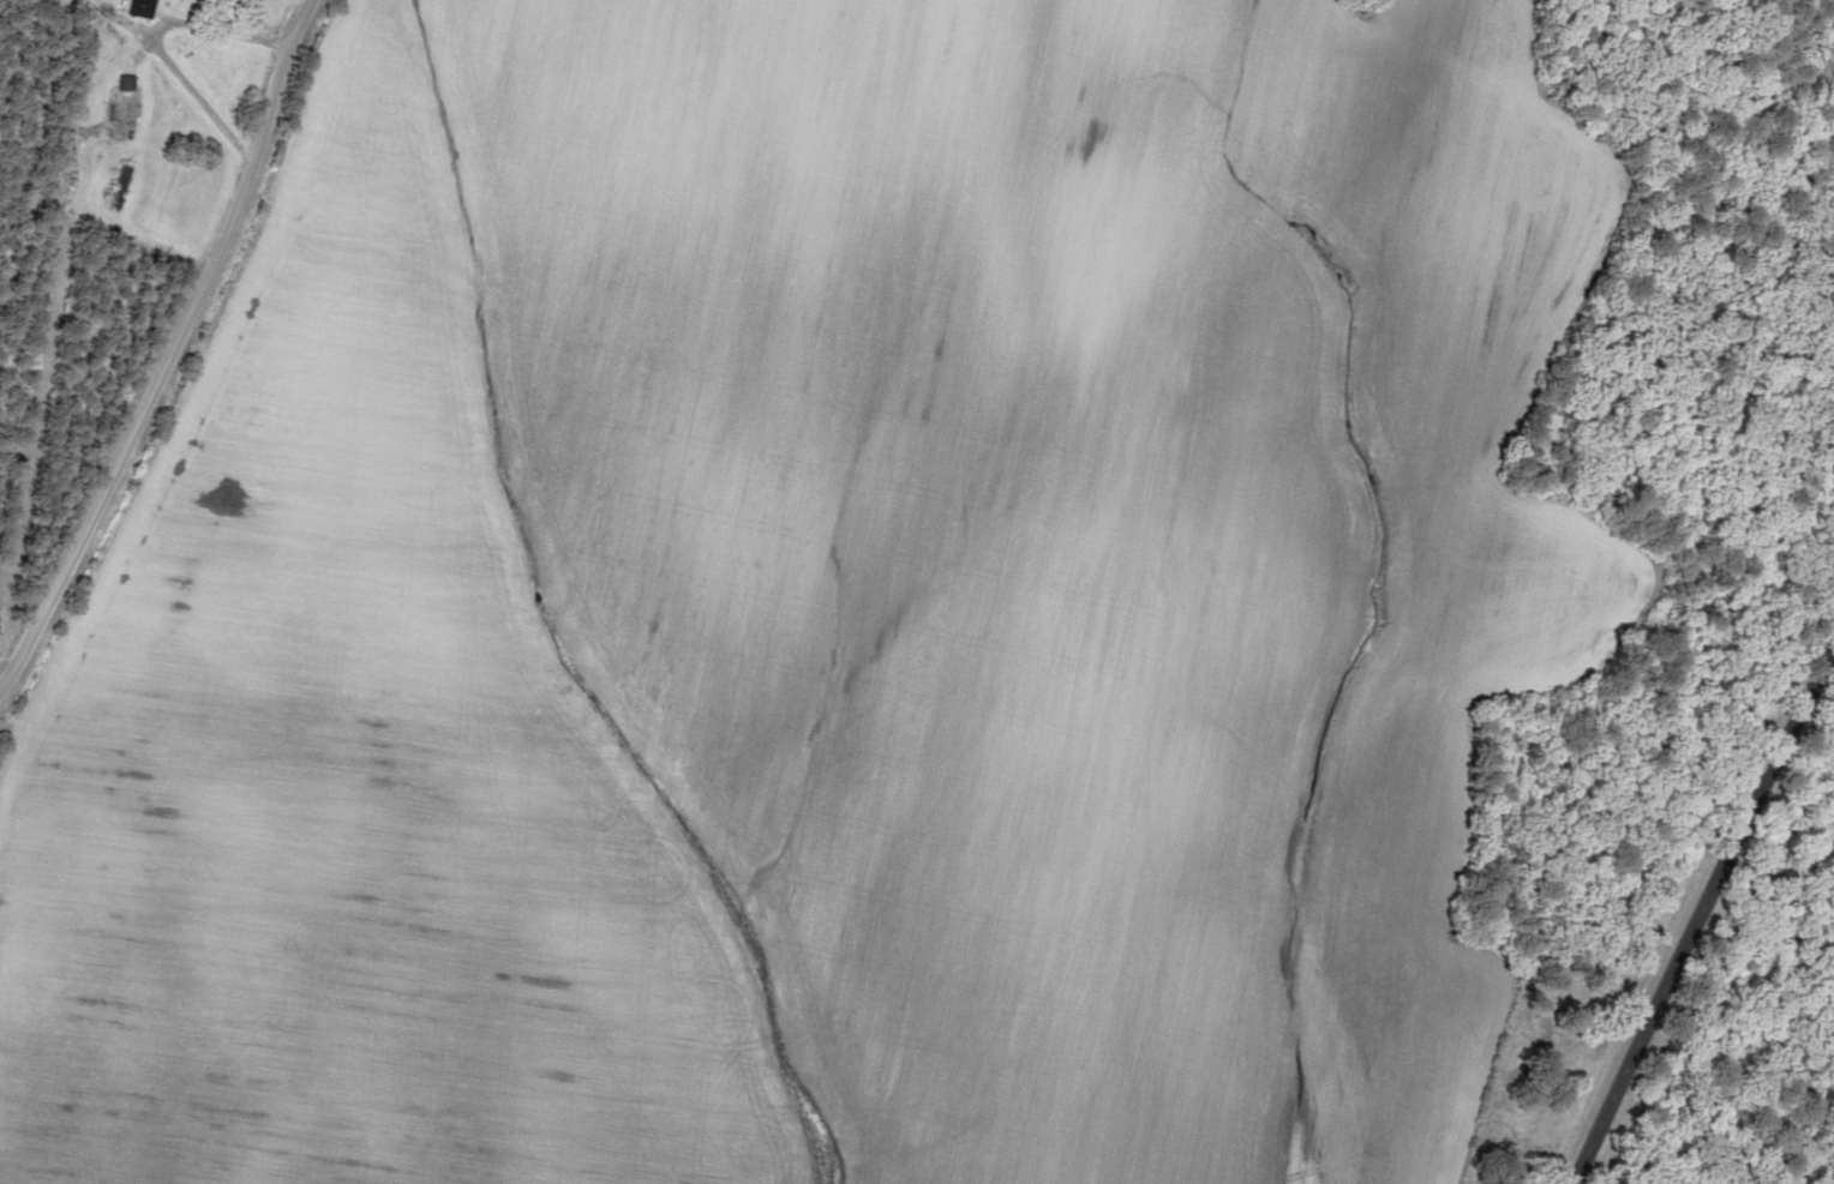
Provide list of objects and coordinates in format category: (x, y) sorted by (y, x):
building: (138, 8)
building: (121, 109)
road: (178, 347)
road: (1710, 921)

